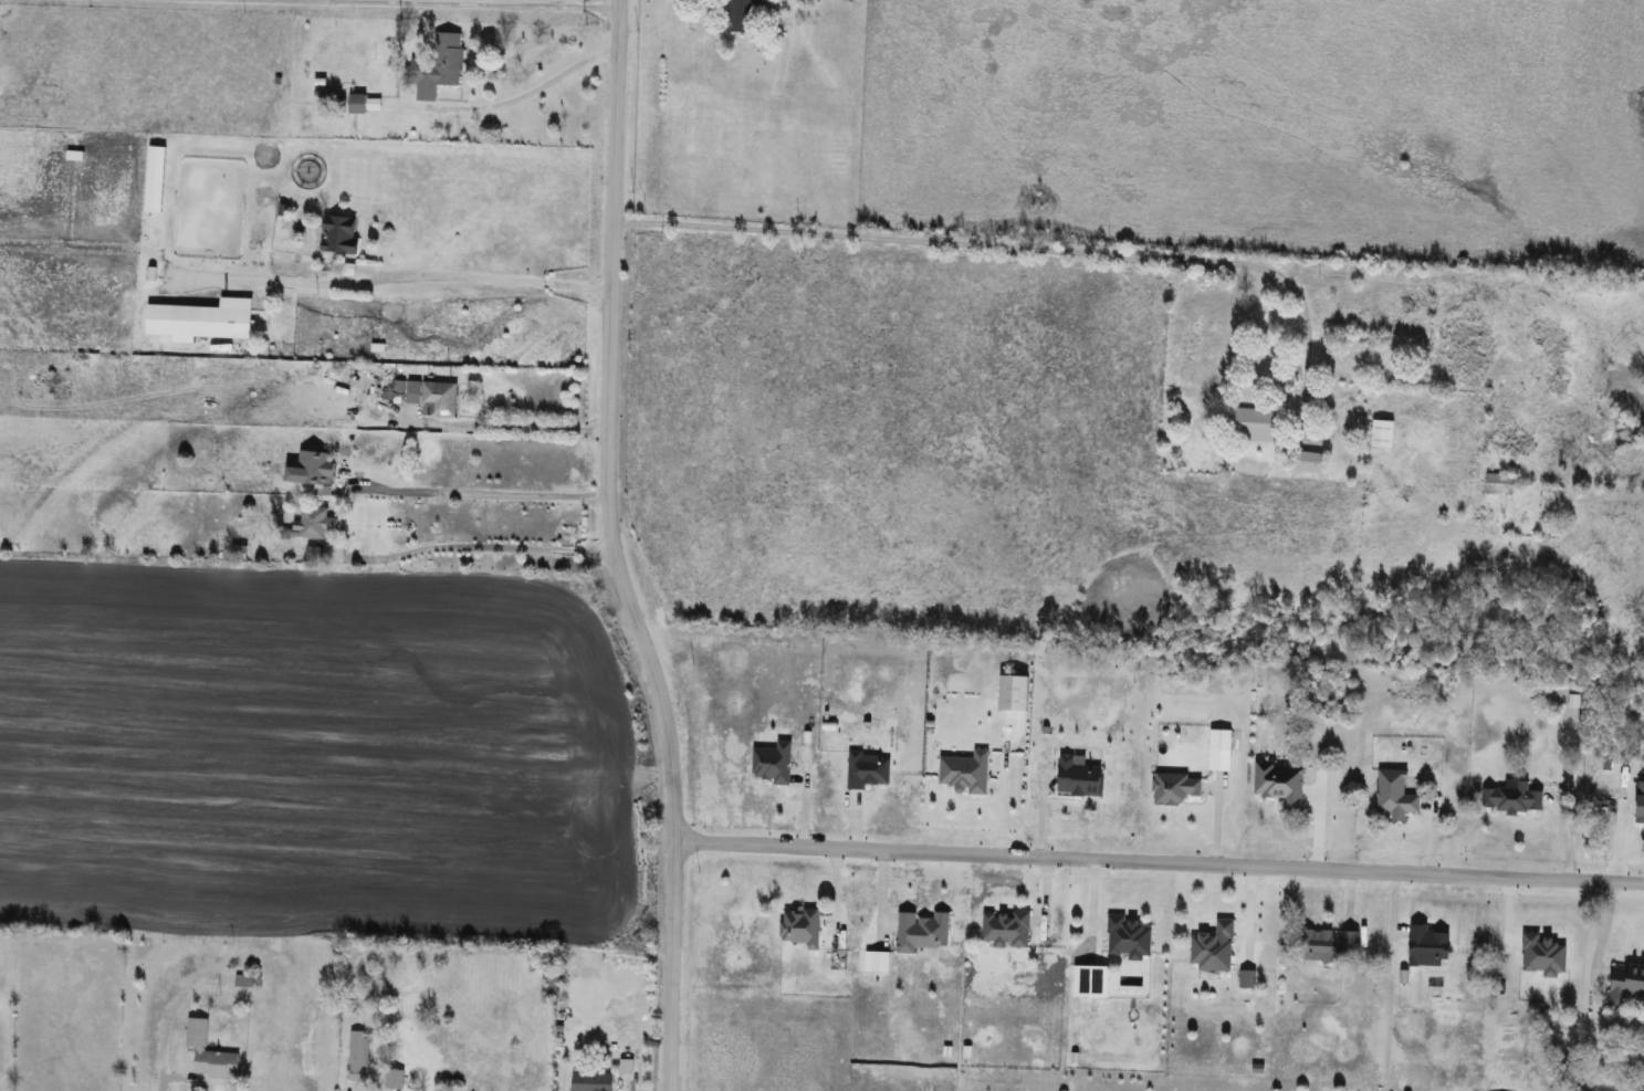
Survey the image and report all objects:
road: (427, 4)
building: (744, 15)
building: (439, 66)
road: (515, 99)
building: (358, 103)
building: (339, 233)
road: (1017, 249)
road: (391, 281)
building: (211, 321)
building: (428, 396)
building: (1254, 424)
road: (525, 428)
building: (1383, 433)
building: (1310, 461)
building: (312, 469)
building: (1499, 484)
road: (475, 496)
building: (314, 522)
road: (474, 549)
road: (610, 554)
building: (1221, 738)
building: (773, 762)
building: (868, 769)
building: (965, 770)
building: (1080, 777)
building: (1280, 783)
building: (1175, 787)
building: (1395, 794)
building: (1512, 796)
road: (1161, 860)
road: (1393, 923)
building: (800, 926)
building: (1006, 929)
building: (921, 931)
road: (1599, 934)
building: (1130, 937)
building: (1326, 944)
building: (1428, 946)
building: (1213, 947)
building: (1625, 984)
building: (208, 1051)
building: (360, 1058)
building: (395, 1078)
building: (591, 1081)

